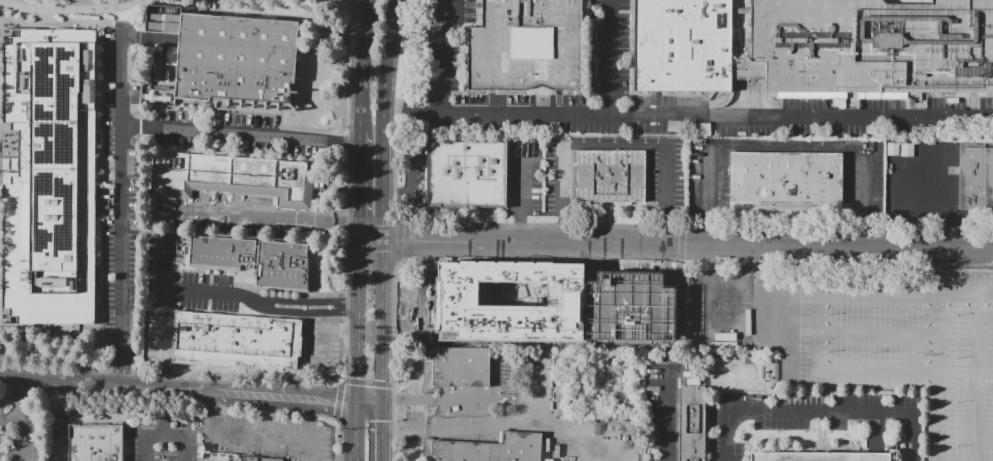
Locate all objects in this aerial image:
road: (76, 14)
building: (526, 45)
building: (682, 45)
building: (820, 45)
building: (940, 47)
road: (444, 54)
road: (610, 57)
building: (242, 61)
road: (361, 65)
building: (748, 70)
road: (349, 71)
building: (156, 92)
road: (157, 107)
road: (514, 114)
road: (820, 115)
road: (382, 120)
road: (218, 124)
road: (280, 127)
parking lot: (217, 129)
road: (240, 135)
road: (616, 145)
building: (470, 175)
building: (49, 177)
building: (230, 177)
road: (358, 177)
building: (612, 177)
building: (786, 178)
building: (976, 178)
road: (901, 180)
road: (708, 182)
road: (951, 184)
road: (523, 195)
road: (931, 202)
road: (123, 208)
parking lot: (234, 215)
road: (260, 215)
road: (370, 233)
road: (687, 245)
road: (185, 252)
building: (257, 259)
road: (382, 259)
road: (663, 262)
road: (199, 269)
road: (257, 270)
parking lot: (186, 280)
road: (598, 287)
road: (182, 290)
road: (302, 293)
road: (299, 301)
building: (468, 310)
road: (357, 312)
road: (297, 313)
road: (408, 313)
road: (382, 314)
road: (576, 328)
parking lot: (161, 337)
building: (241, 341)
parking lot: (321, 347)
road: (53, 355)
building: (463, 367)
road: (907, 367)
road: (117, 371)
road: (382, 376)
road: (171, 377)
road: (96, 381)
road: (296, 382)
road: (541, 388)
road: (274, 394)
road: (21, 398)
traffic signals: (356, 400)
road: (369, 400)
road: (522, 400)
traffic signals: (382, 401)
road: (210, 409)
road: (480, 411)
road: (819, 411)
road: (165, 412)
road: (381, 416)
road: (667, 416)
road: (10, 420)
road: (59, 420)
road: (817, 420)
road: (977, 422)
building: (695, 424)
road: (555, 427)
road: (352, 430)
parking lot: (27, 434)
road: (263, 435)
road: (164, 436)
road: (21, 441)
building: (98, 443)
parking lot: (158, 444)
road: (381, 446)
building: (493, 449)
road: (315, 451)
building: (820, 457)
park: (220, 458)
building: (257, 459)
road: (381, 460)

